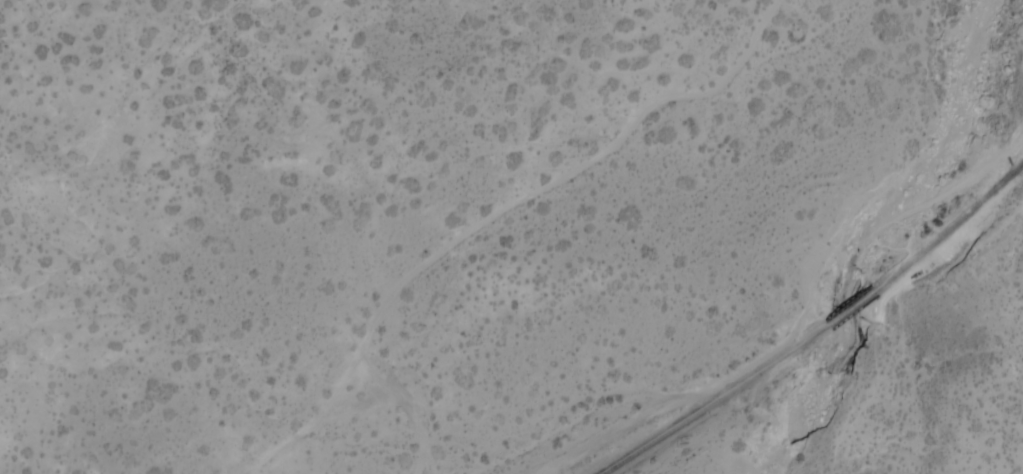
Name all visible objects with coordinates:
railway: (949, 226)
river: (862, 231)
railway: (846, 308)
railway: (711, 402)

